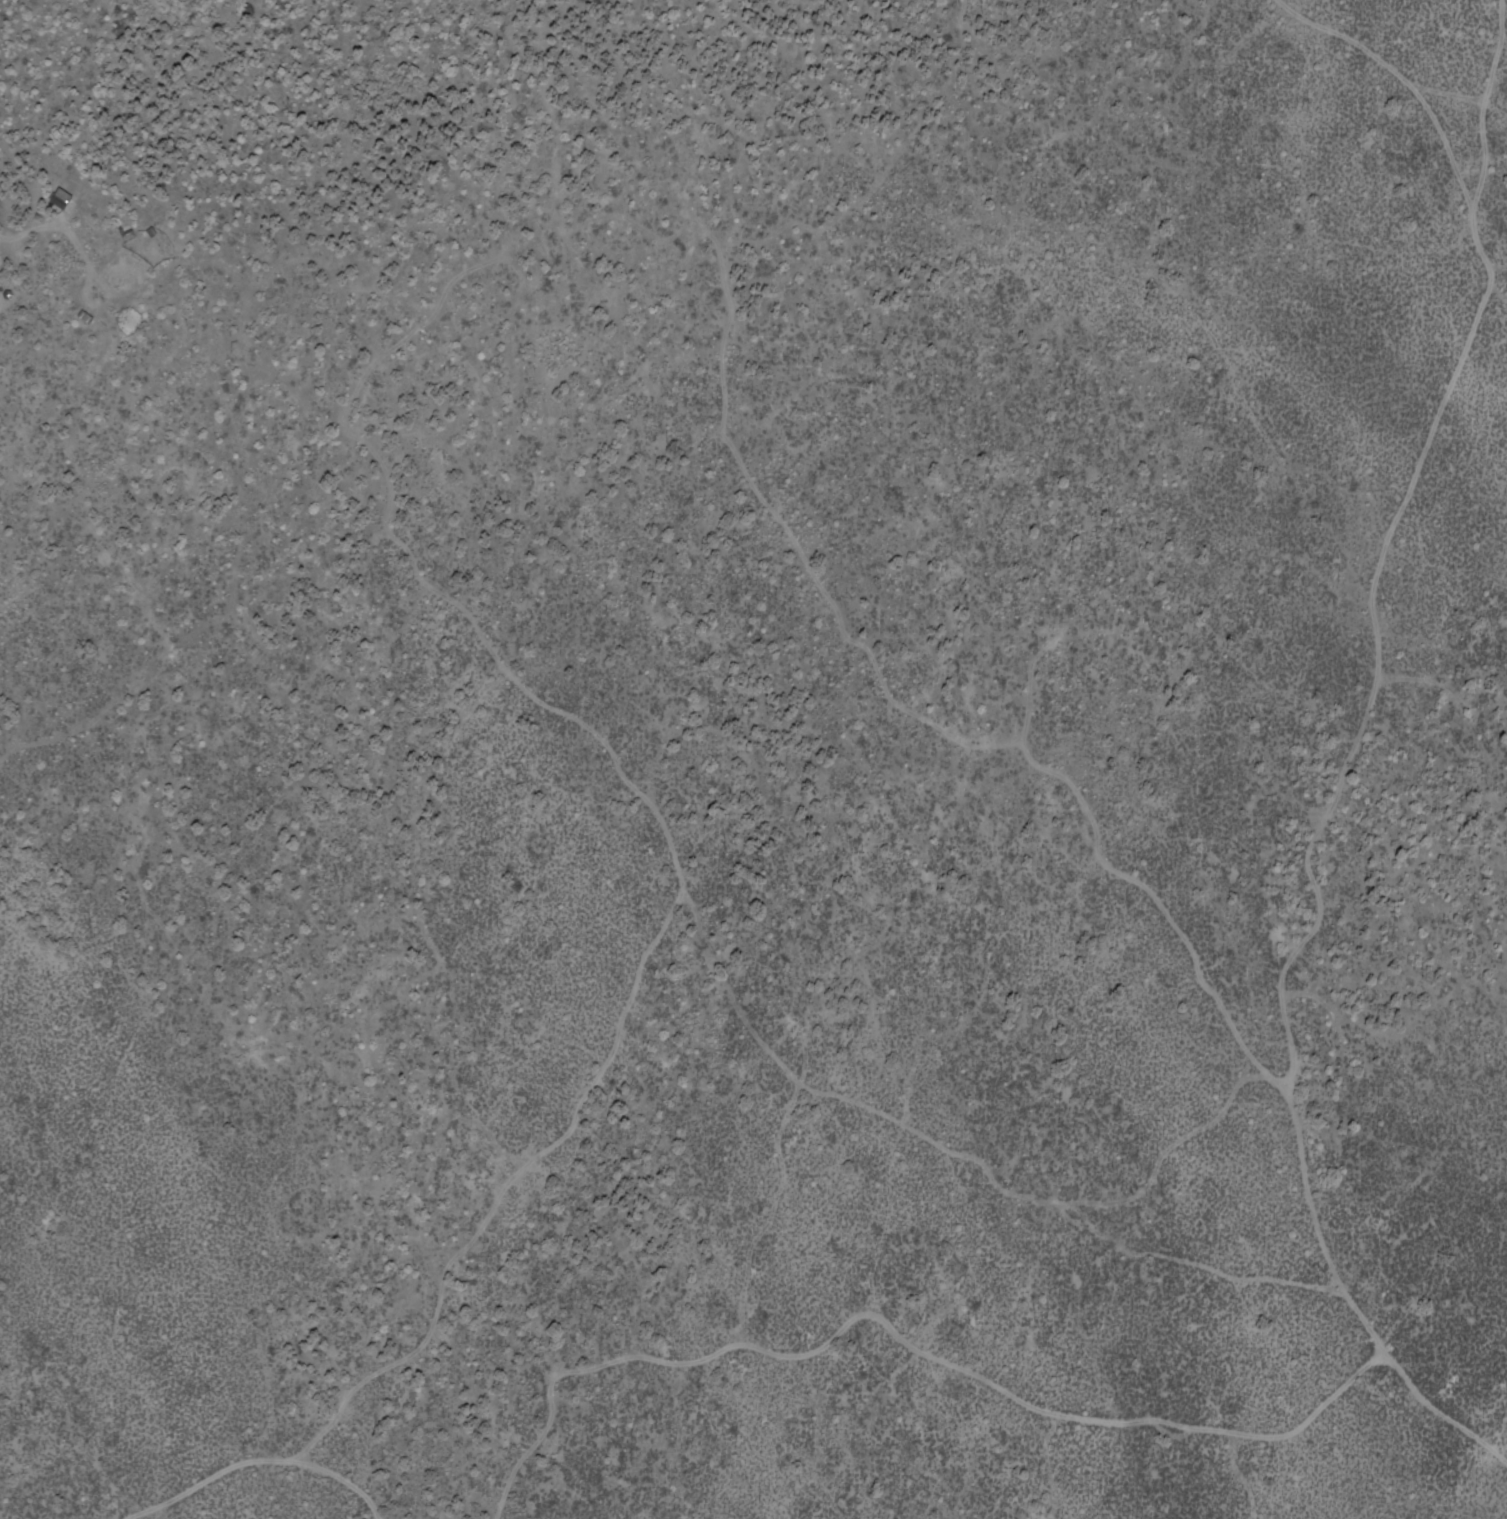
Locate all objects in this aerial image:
road: (798, 1325)

